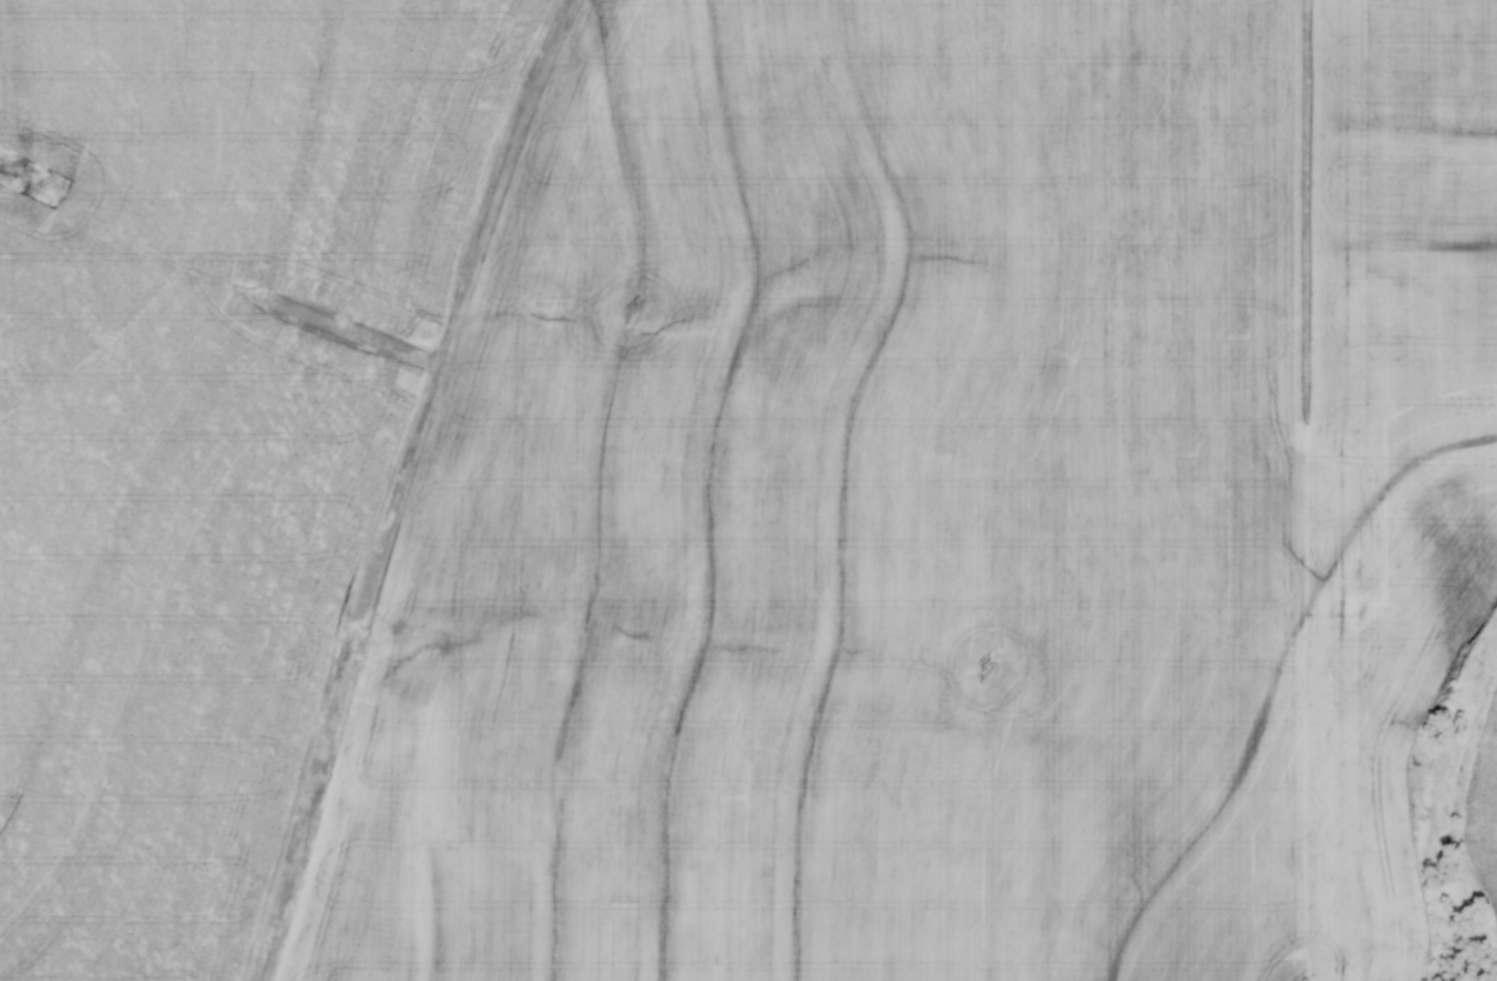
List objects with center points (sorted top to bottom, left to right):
power tower: (632, 310)
power tower: (984, 666)

